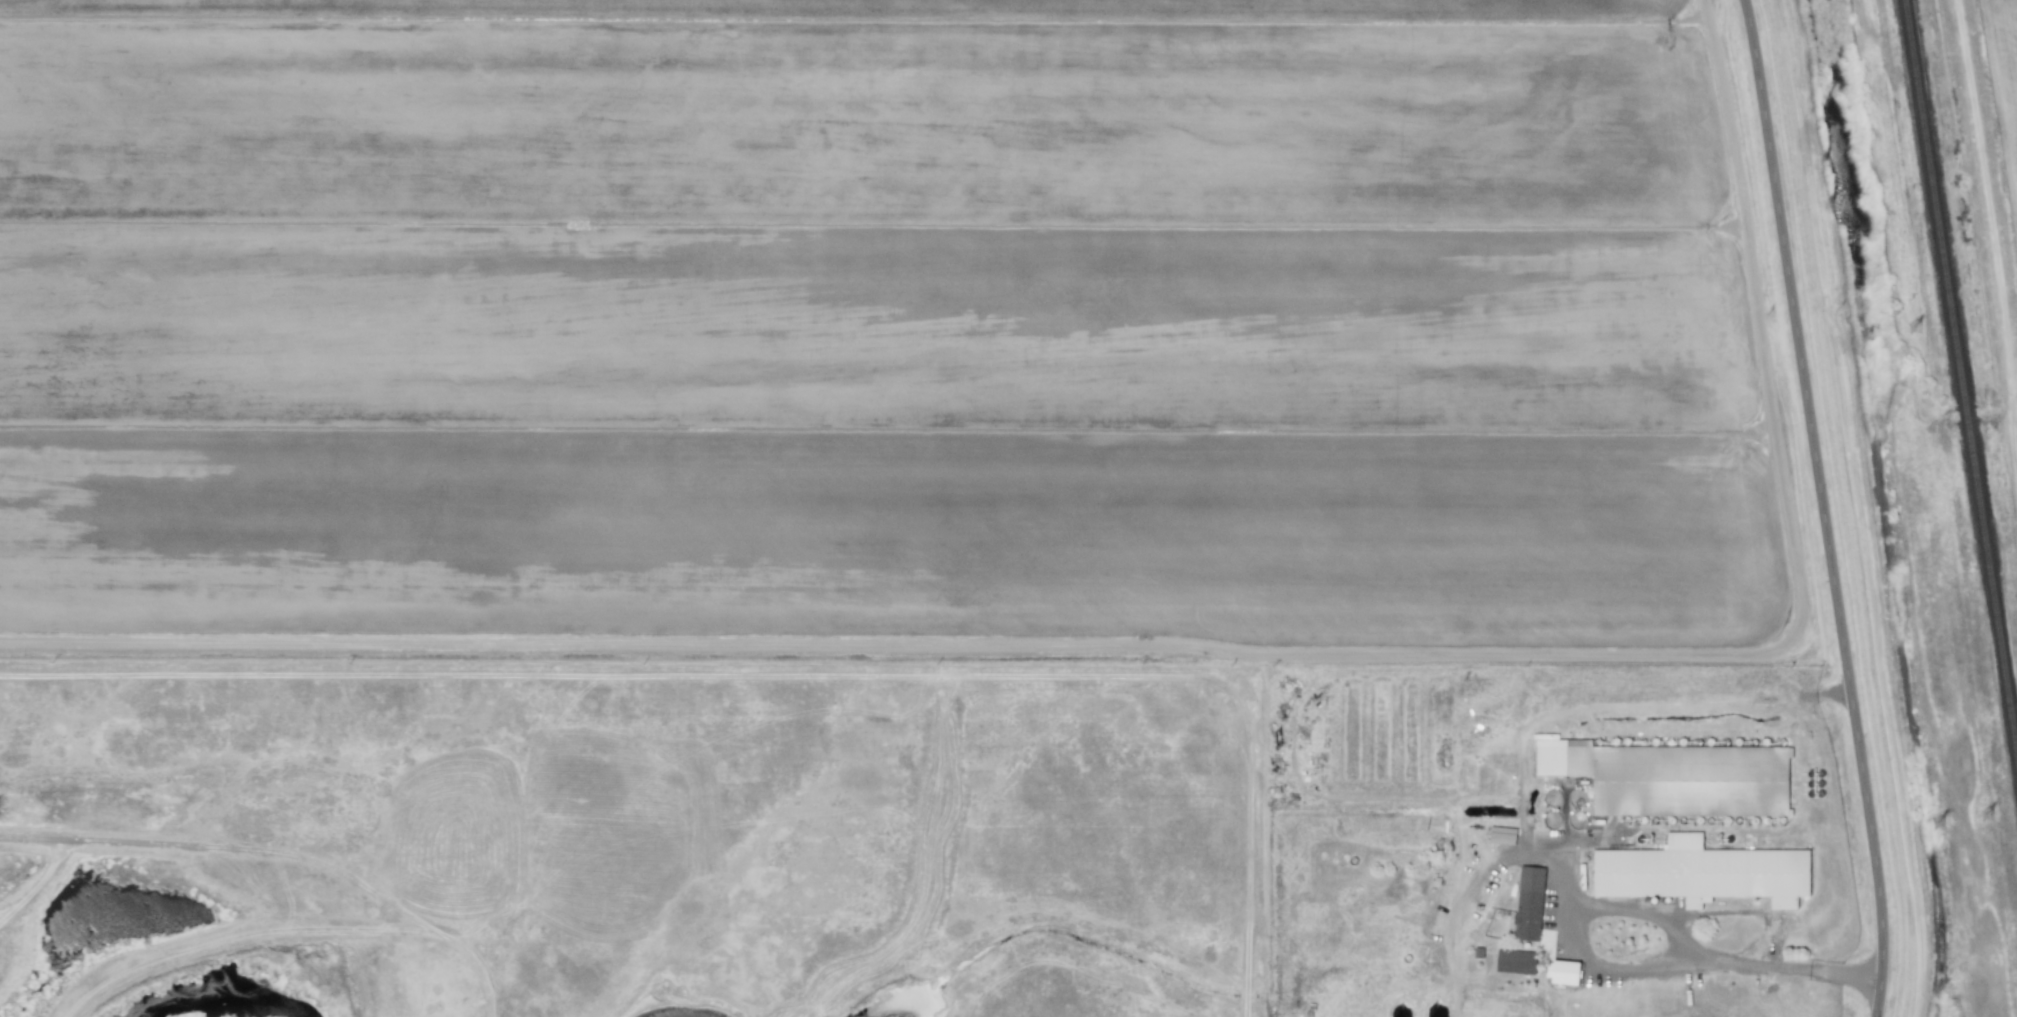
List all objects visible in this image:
crop: (1986, 183)
railway: (1940, 207)
power tower: (1918, 331)
power tower: (1870, 339)
railway: (1971, 418)
road: (1823, 482)
railway: (1994, 575)
building: (1672, 777)
power tower: (1991, 815)
power tower: (1941, 823)
road: (1595, 838)
building: (1700, 873)
building: (1528, 904)
road: (1636, 911)
building: (1514, 961)
road: (1639, 967)
building: (1563, 973)
road: (1879, 991)

